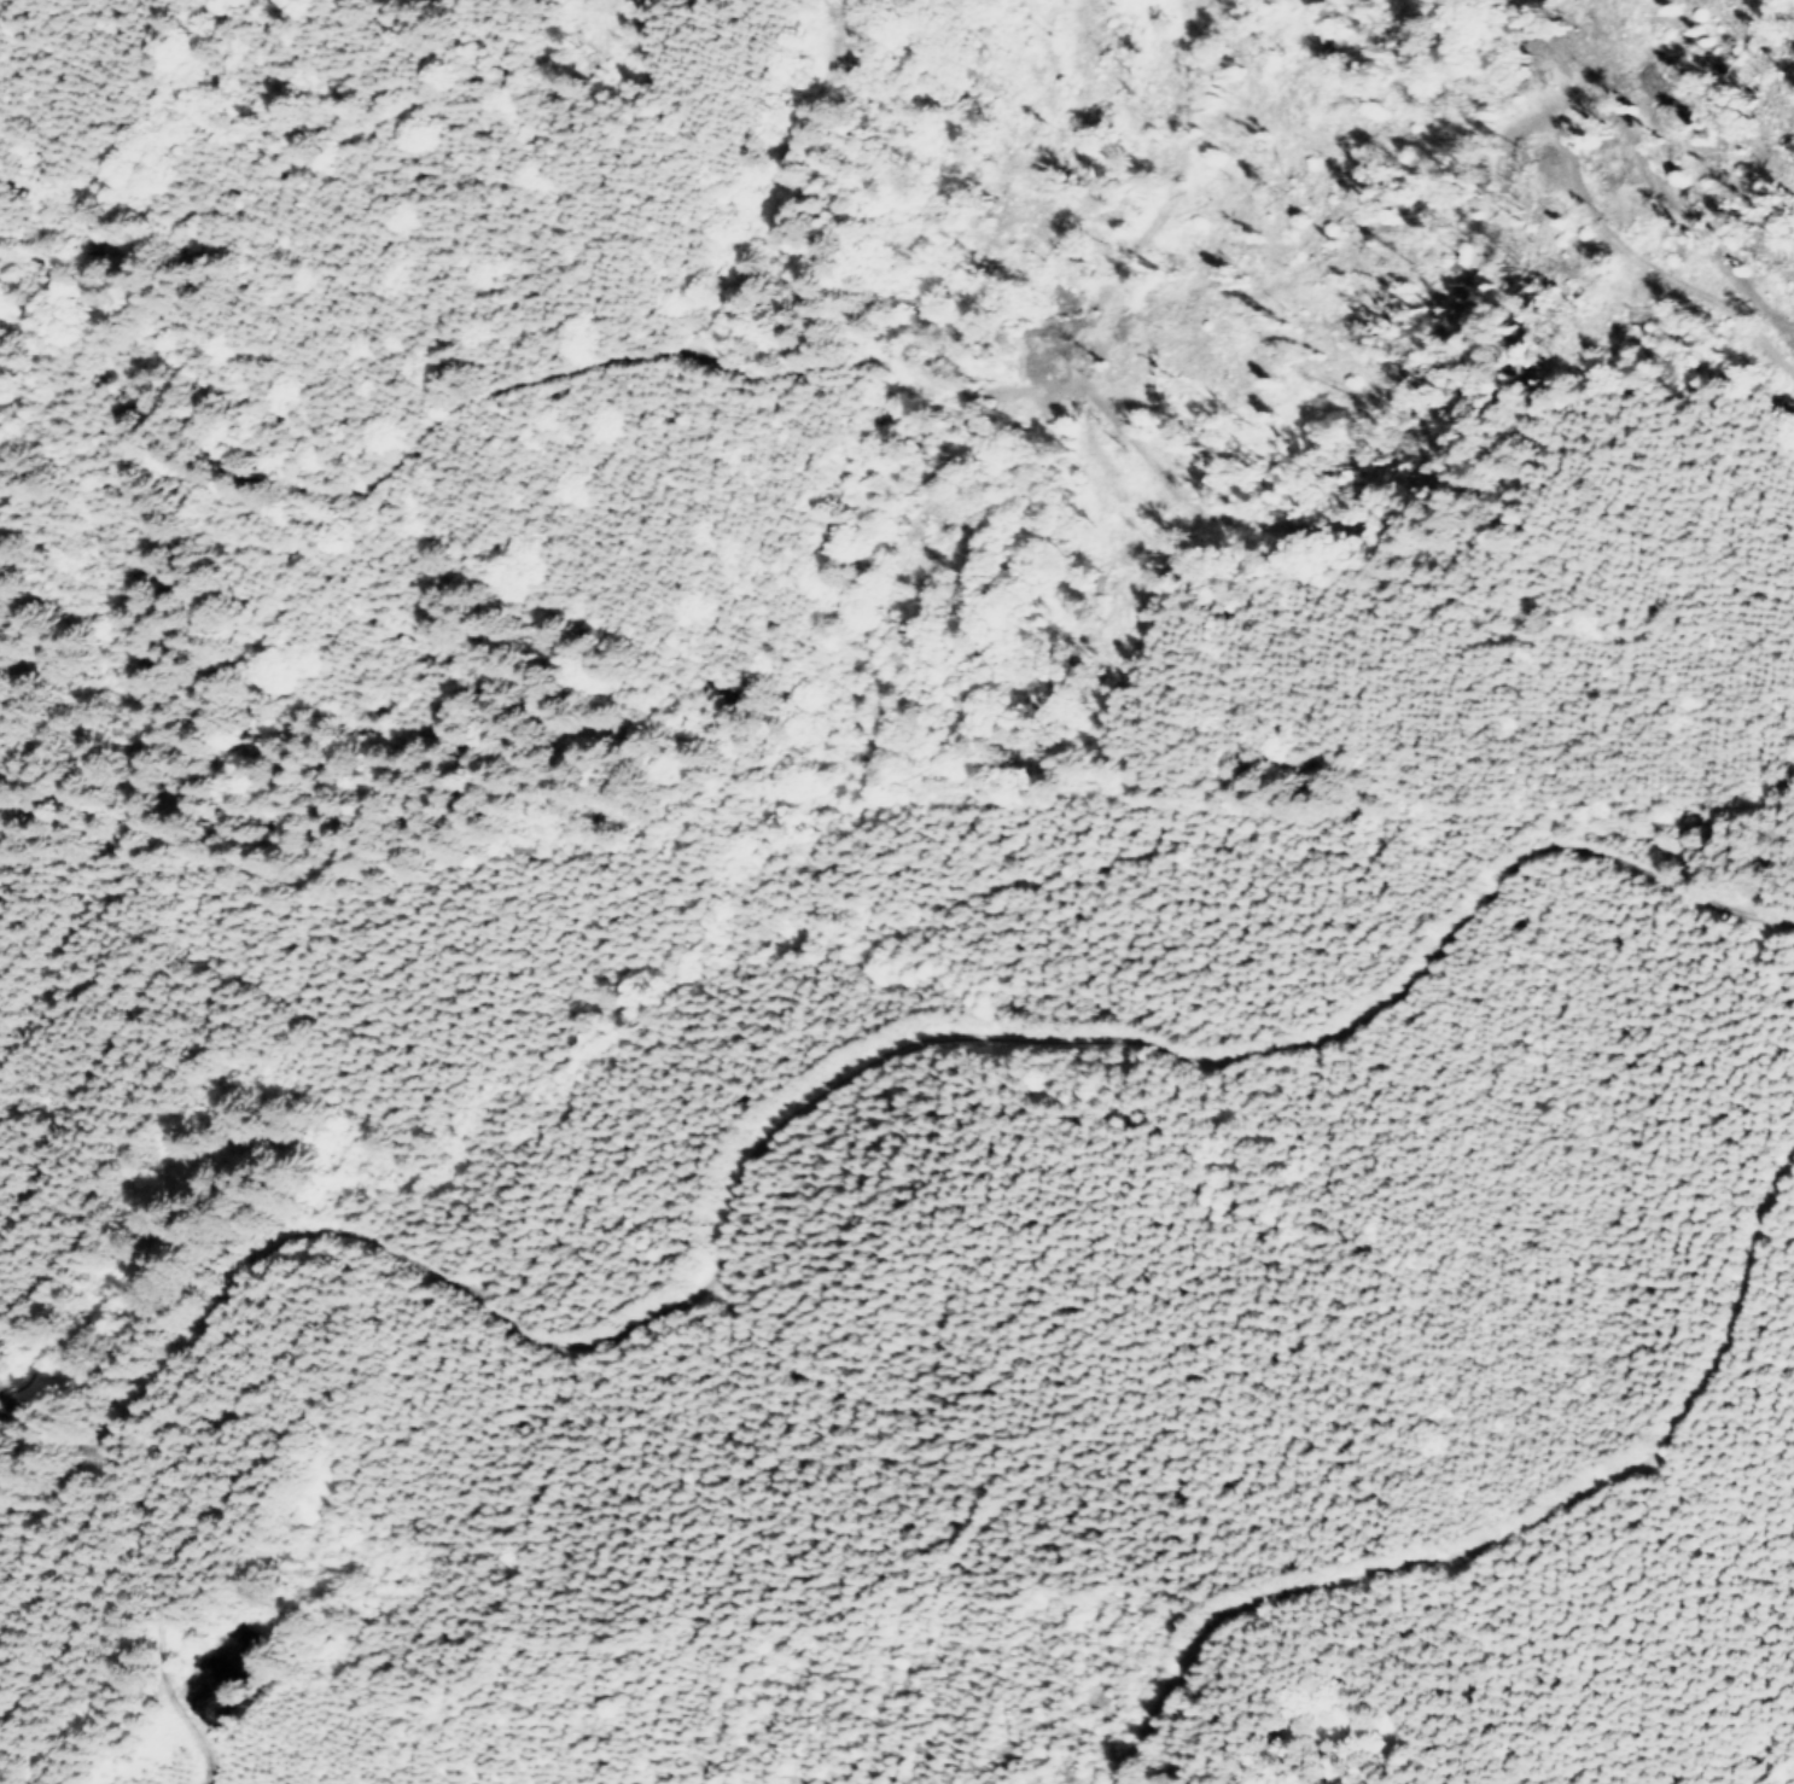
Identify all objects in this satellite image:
road: (960, 403)

